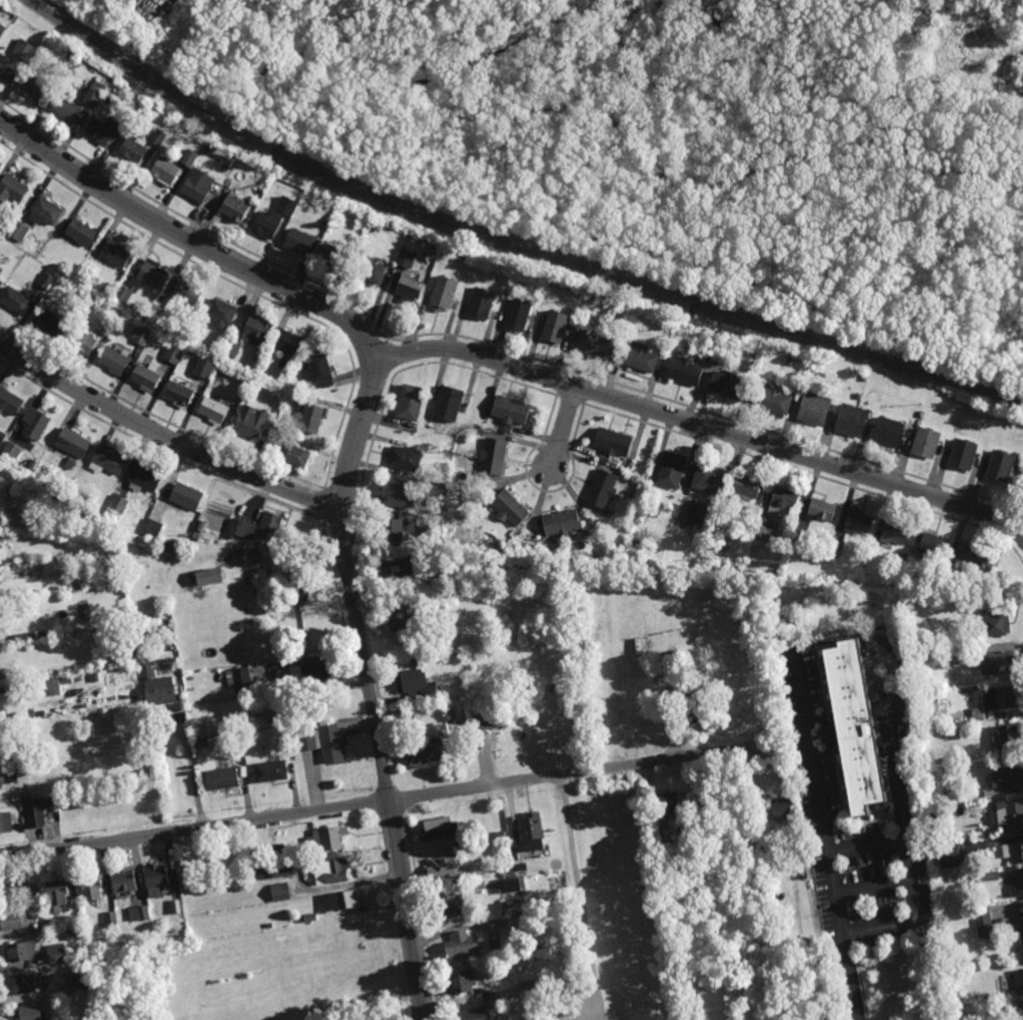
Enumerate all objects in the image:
building: (118, 0)
building: (2, 29)
building: (24, 49)
building: (71, 55)
building: (6, 67)
building: (36, 87)
building: (92, 96)
road: (528, 102)
building: (68, 108)
road: (392, 116)
building: (104, 129)
park: (693, 134)
building: (157, 136)
building: (134, 149)
building: (189, 157)
building: (225, 166)
building: (165, 170)
building: (198, 184)
building: (12, 188)
building: (287, 205)
building: (234, 207)
building: (45, 211)
road: (787, 222)
building: (266, 224)
building: (374, 227)
building: (18, 230)
building: (81, 232)
building: (302, 242)
road: (200, 244)
railway: (507, 244)
building: (116, 253)
building: (336, 258)
building: (406, 258)
building: (457, 258)
building: (1, 270)
building: (371, 271)
building: (149, 275)
road: (733, 276)
building: (47, 280)
building: (1, 283)
building: (410, 285)
building: (187, 292)
building: (443, 293)
building: (122, 294)
building: (16, 300)
building: (161, 303)
building: (481, 303)
building: (221, 312)
building: (517, 314)
building: (49, 321)
building: (554, 326)
building: (108, 327)
building: (256, 329)
building: (141, 334)
building: (82, 341)
building: (290, 342)
building: (593, 344)
building: (233, 347)
building: (174, 355)
building: (258, 357)
building: (637, 358)
building: (115, 360)
building: (205, 367)
building: (683, 371)
building: (319, 372)
building: (865, 377)
building: (147, 378)
building: (727, 385)
building: (180, 394)
building: (858, 396)
building: (772, 399)
building: (9, 402)
building: (410, 402)
building: (448, 404)
building: (813, 409)
building: (214, 410)
building: (511, 411)
building: (892, 414)
building: (313, 418)
building: (851, 421)
building: (35, 423)
road: (696, 424)
building: (250, 426)
road: (562, 430)
building: (887, 432)
road: (166, 435)
building: (2, 436)
building: (612, 441)
building: (72, 443)
building: (925, 443)
building: (12, 450)
building: (294, 455)
building: (962, 455)
building: (493, 457)
building: (405, 458)
building: (108, 460)
building: (71, 461)
building: (1000, 466)
building: (671, 470)
building: (145, 477)
building: (708, 479)
building: (746, 488)
building: (601, 489)
building: (396, 492)
building: (186, 497)
building: (782, 502)
building: (118, 505)
building: (509, 508)
building: (821, 510)
building: (696, 514)
building: (858, 521)
building: (560, 523)
building: (271, 527)
building: (151, 529)
building: (240, 530)
building: (765, 530)
building: (430, 531)
building: (392, 533)
building: (895, 533)
building: (168, 537)
building: (798, 537)
building: (635, 541)
building: (837, 544)
building: (934, 545)
building: (252, 557)
building: (972, 561)
building: (407, 572)
building: (949, 576)
building: (209, 578)
building: (302, 593)
building: (966, 598)
building: (414, 603)
building: (397, 619)
building: (136, 621)
building: (160, 623)
building: (993, 626)
building: (813, 632)
building: (130, 633)
building: (37, 635)
building: (21, 638)
building: (145, 649)
building: (929, 656)
building: (661, 659)
building: (998, 662)
building: (309, 674)
building: (66, 680)
building: (241, 681)
building: (414, 685)
building: (53, 688)
building: (158, 688)
building: (2, 690)
building: (1000, 697)
road: (373, 700)
building: (699, 707)
building: (273, 713)
building: (450, 715)
building: (978, 715)
building: (484, 718)
building: (850, 731)
building: (197, 732)
building: (1006, 738)
building: (323, 742)
building: (202, 744)
building: (424, 752)
building: (32, 753)
building: (22, 766)
road: (188, 770)
building: (270, 772)
building: (1009, 775)
building: (1, 778)
building: (221, 779)
road: (820, 801)
road: (378, 803)
building: (668, 803)
building: (782, 807)
building: (33, 813)
building: (1009, 815)
building: (5, 823)
building: (764, 823)
parking lot: (852, 826)
building: (439, 828)
building: (531, 831)
building: (500, 834)
building: (663, 834)
building: (327, 839)
building: (461, 842)
building: (1014, 851)
building: (277, 853)
building: (946, 854)
building: (667, 858)
building: (521, 866)
building: (447, 868)
building: (281, 871)
building: (331, 872)
road: (909, 876)
building: (988, 876)
building: (158, 880)
building: (125, 882)
building: (511, 883)
building: (93, 887)
building: (1018, 887)
building: (7, 890)
building: (281, 892)
building: (58, 893)
building: (39, 894)
road: (581, 898)
building: (340, 901)
building: (510, 903)
building: (448, 905)
building: (177, 906)
building: (139, 913)
building: (307, 918)
building: (112, 919)
building: (14, 920)
building: (983, 921)
building: (45, 926)
building: (74, 934)
building: (1022, 935)
building: (160, 942)
building: (460, 945)
building: (496, 947)
building: (24, 950)
building: (57, 953)
building: (1019, 981)
building: (79, 982)
building: (961, 982)
building: (25, 983)
building: (459, 983)
building: (527, 985)
road: (852, 986)
building: (30, 1013)
building: (472, 1014)
building: (94, 1016)

